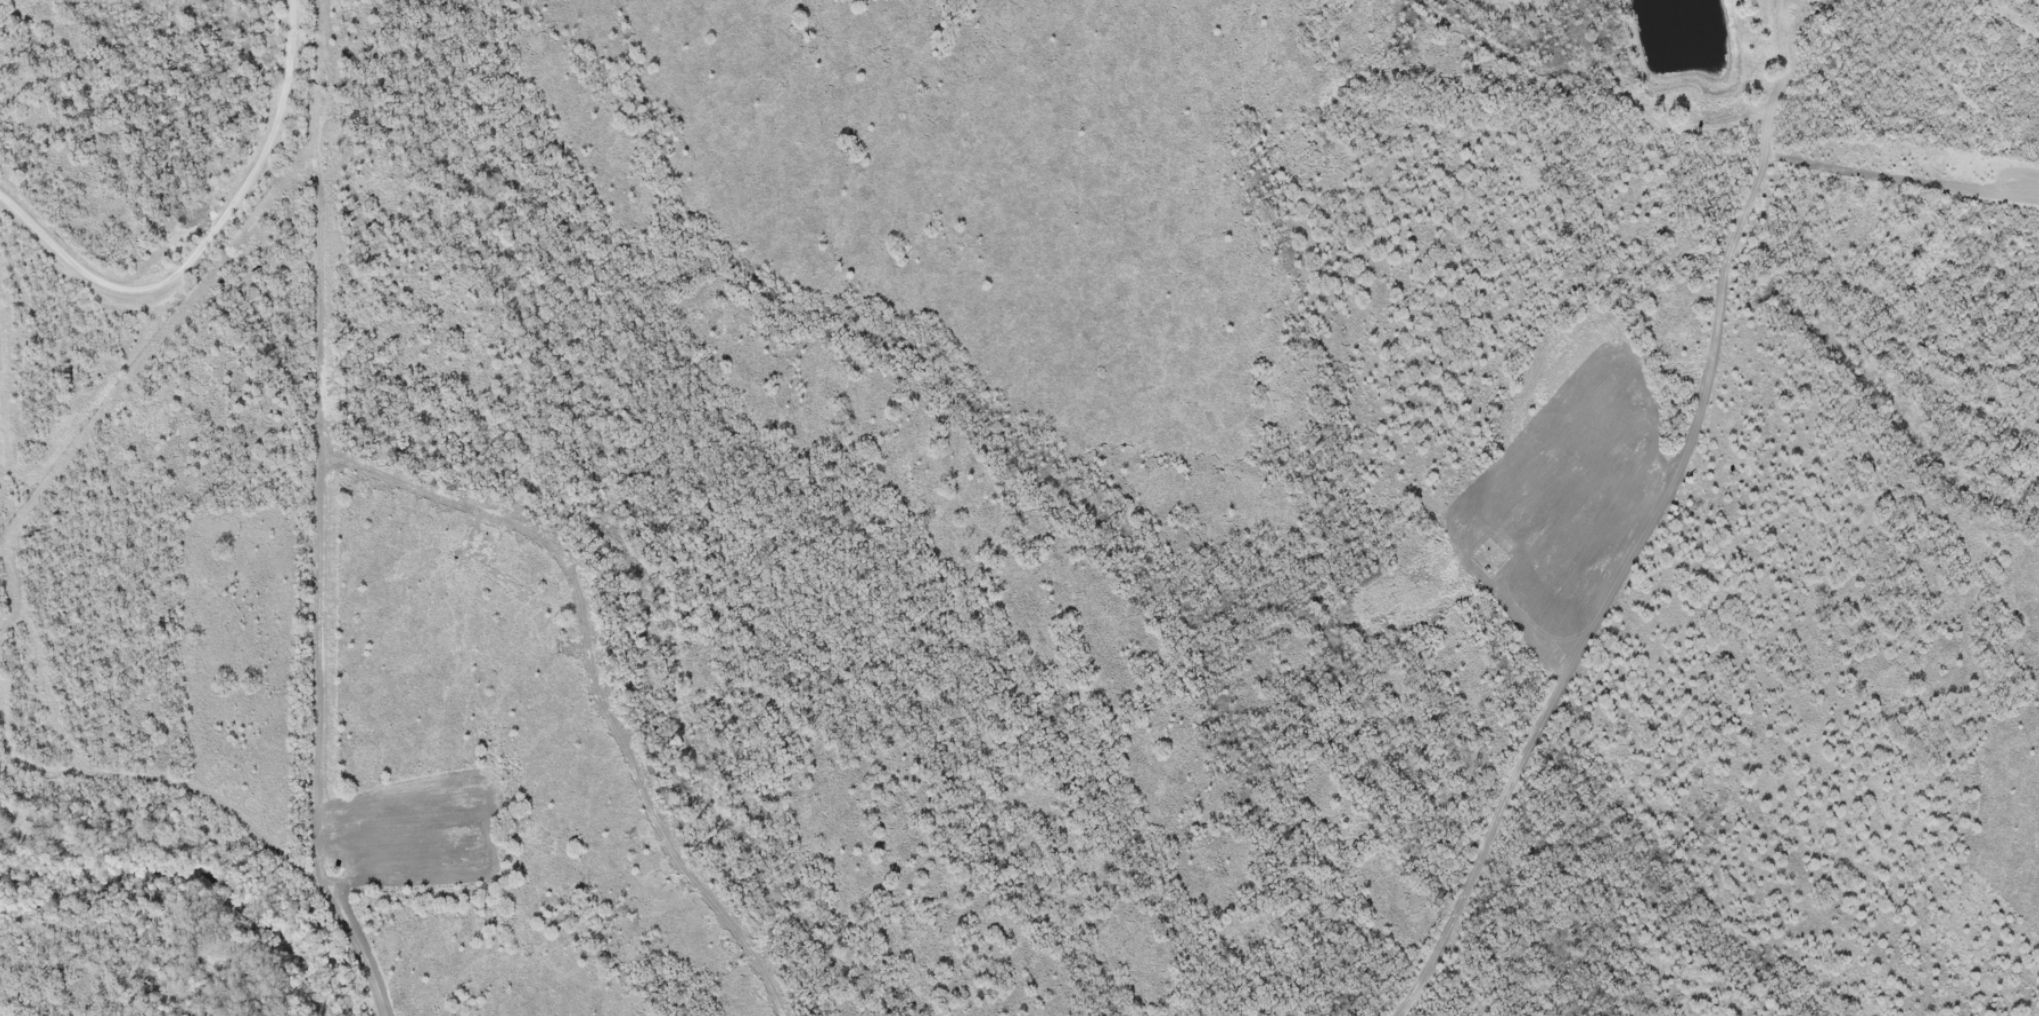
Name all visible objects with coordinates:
road: (206, 238)
river: (192, 881)

